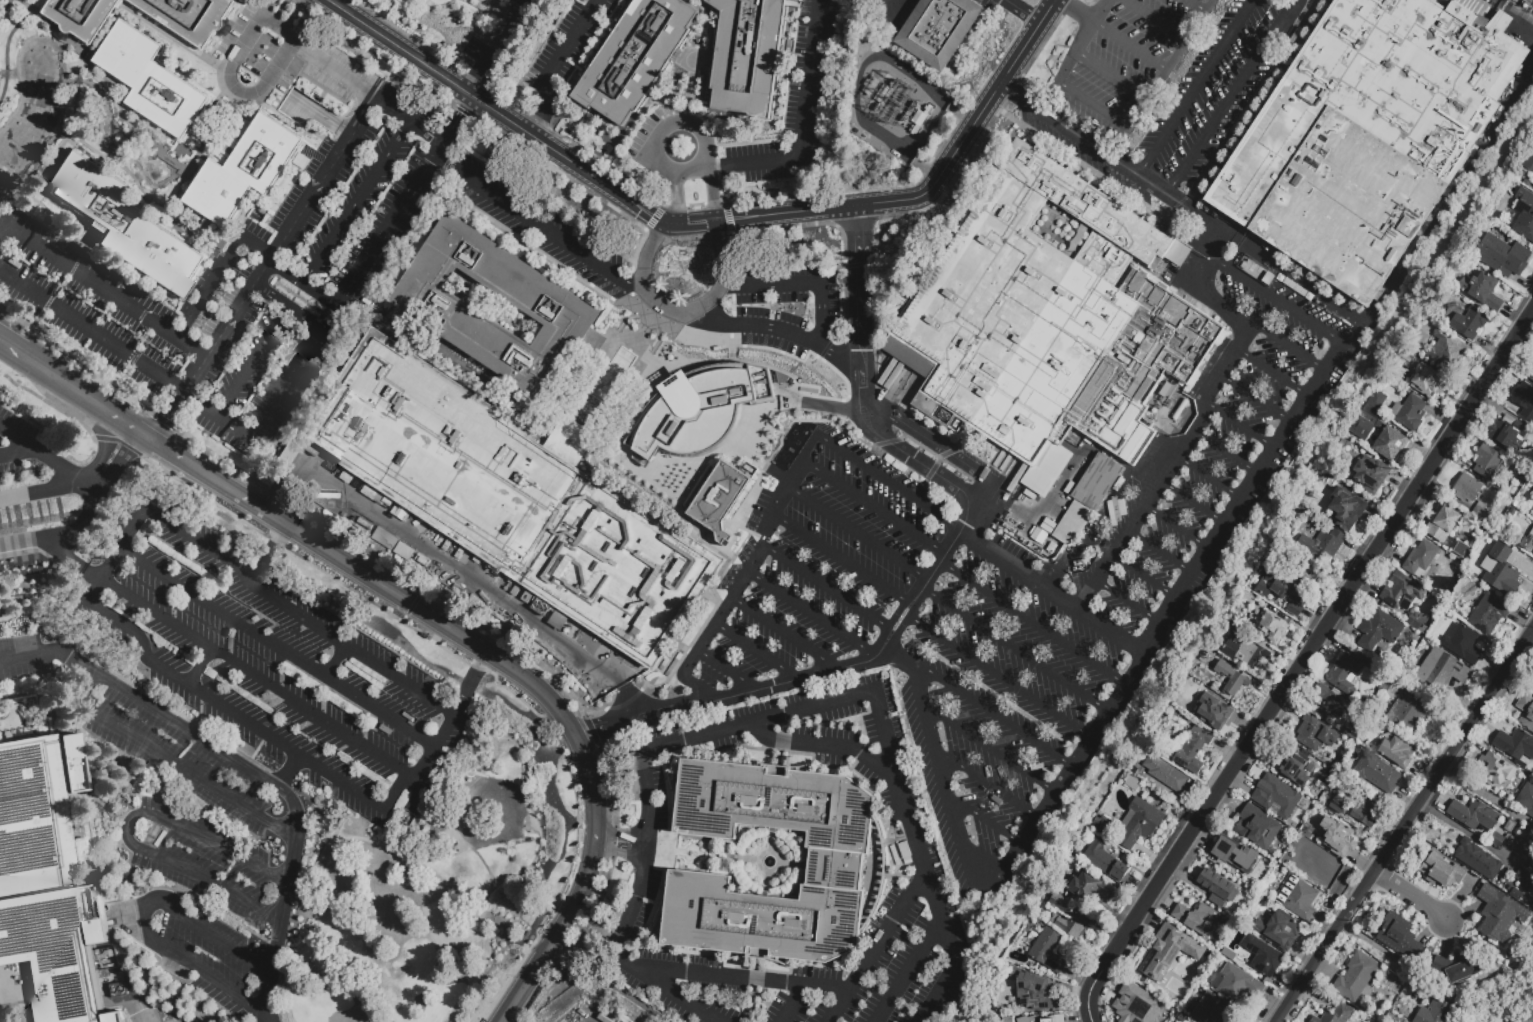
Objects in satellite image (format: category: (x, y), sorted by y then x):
building: (466, 0)
parking lot: (995, 4)
road: (25, 5)
road: (1195, 6)
road: (5, 7)
road: (1021, 10)
road: (1076, 10)
road: (894, 11)
road: (280, 12)
road: (37, 13)
parking lot: (893, 13)
road: (477, 14)
building: (79, 16)
building: (188, 16)
road: (295, 16)
road: (1516, 18)
road: (1154, 20)
road: (279, 29)
building: (938, 30)
road: (501, 32)
road: (467, 41)
road: (572, 42)
road: (1079, 42)
road: (1130, 46)
building: (747, 55)
building: (633, 58)
fountain: (41, 59)
road: (1170, 66)
road: (335, 68)
road: (1111, 76)
road: (471, 79)
road: (79, 82)
building: (153, 83)
road: (236, 88)
building: (871, 88)
road: (1196, 88)
road: (1, 96)
building: (884, 97)
road: (1231, 97)
power substation: (894, 98)
road: (1090, 108)
road: (545, 111)
building: (911, 114)
road: (319, 116)
road: (410, 119)
road: (457, 121)
building: (920, 121)
road: (804, 122)
building: (1370, 136)
road: (209, 138)
road: (1080, 139)
road: (57, 155)
road: (708, 159)
building: (301, 163)
building: (1529, 167)
building: (245, 173)
fountain: (161, 176)
road: (712, 193)
road: (1451, 194)
road: (674, 198)
road: (357, 199)
road: (1190, 209)
building: (1522, 217)
road: (705, 221)
road: (391, 223)
road: (536, 225)
building: (128, 228)
road: (279, 244)
road: (256, 248)
building: (1494, 253)
road: (858, 255)
building: (1517, 260)
road: (1190, 267)
building: (1532, 268)
building: (1253, 269)
road: (1290, 273)
road: (305, 280)
building: (1269, 280)
road: (802, 282)
road: (59, 285)
road: (101, 286)
road: (209, 288)
building: (1484, 292)
road: (1272, 297)
building: (551, 304)
road: (286, 308)
road: (1229, 309)
road: (685, 312)
building: (1044, 315)
road: (753, 325)
building: (1470, 325)
road: (860, 330)
road: (91, 331)
road: (1288, 346)
road: (9, 348)
building: (1452, 356)
building: (1406, 358)
road: (840, 359)
road: (253, 363)
road: (1271, 372)
road: (50, 375)
road: (862, 375)
building: (1531, 377)
road: (286, 386)
building: (1427, 388)
road: (1254, 398)
road: (133, 401)
road: (50, 403)
building: (1525, 403)
road: (831, 406)
building: (697, 409)
road: (1204, 409)
road: (107, 411)
building: (1412, 416)
road: (167, 417)
road: (217, 417)
building: (1369, 419)
road: (1241, 427)
road: (142, 434)
building: (1509, 435)
road: (18, 438)
road: (925, 438)
road: (119, 440)
building: (1392, 446)
road: (26, 451)
road: (104, 451)
road: (1225, 453)
road: (8, 454)
building: (1356, 454)
road: (909, 456)
road: (119, 461)
building: (1488, 463)
road: (60, 465)
road: (285, 468)
road: (1262, 468)
road: (1209, 478)
road: (881, 479)
building: (1370, 480)
road: (162, 482)
building: (1097, 482)
road: (984, 490)
building: (1468, 491)
road: (269, 494)
building: (510, 498)
road: (94, 500)
building: (719, 500)
road: (1193, 502)
road: (866, 504)
building: (1347, 511)
building: (1483, 515)
building: (1532, 516)
building: (1073, 523)
building: (1049, 524)
building: (1444, 525)
road: (1177, 527)
building: (1010, 530)
road: (857, 533)
building: (1532, 534)
building: (1039, 535)
building: (384, 539)
road: (123, 541)
building: (446, 543)
building: (1092, 543)
road: (949, 545)
building: (1051, 547)
building: (1324, 547)
building: (1528, 547)
building: (1101, 550)
building: (403, 551)
building: (459, 552)
building: (1462, 552)
road: (268, 553)
road: (1113, 553)
road: (1160, 553)
road: (840, 555)
road: (71, 558)
building: (1422, 561)
building: (1499, 570)
road: (746, 571)
road: (457, 572)
building: (440, 574)
road: (1145, 576)
building: (1300, 576)
road: (825, 585)
road: (92, 589)
road: (1051, 590)
building: (1402, 592)
building: (1283, 595)
building: (485, 600)
road: (404, 601)
road: (1128, 603)
road: (297, 613)
road: (811, 614)
building: (1489, 616)
road: (893, 619)
building: (1417, 622)
road: (53, 623)
road: (1032, 623)
road: (903, 626)
building: (1270, 627)
building: (1232, 631)
road: (783, 632)
building: (1380, 633)
building: (425, 636)
road: (1531, 637)
building: (503, 639)
building: (1463, 646)
road: (277, 647)
building: (1230, 649)
road: (754, 650)
road: (1014, 651)
road: (40, 652)
building: (1252, 655)
road: (902, 659)
road: (335, 660)
road: (1301, 665)
road: (199, 667)
road: (726, 668)
building: (1374, 668)
road: (476, 669)
building: (1224, 669)
building: (1442, 672)
road: (252, 675)
building: (1345, 676)
road: (999, 679)
road: (472, 683)
building: (1531, 684)
building: (432, 685)
building: (1237, 686)
road: (751, 689)
building: (1392, 689)
building: (1511, 694)
road: (631, 702)
road: (832, 702)
building: (1330, 702)
building: (1212, 711)
building: (1526, 712)
road: (177, 713)
road: (992, 713)
building: (1410, 715)
road: (179, 723)
road: (247, 723)
building: (461, 725)
road: (600, 729)
building: (1351, 731)
building: (392, 733)
building: (1316, 735)
building: (1516, 746)
road: (829, 747)
road: (433, 749)
road: (989, 749)
building: (1191, 749)
building: (1398, 751)
road: (1080, 753)
road: (160, 755)
building: (1294, 767)
building: (1495, 770)
road: (287, 772)
road: (126, 773)
building: (1331, 773)
building: (1379, 775)
building: (1166, 776)
road: (473, 779)
road: (280, 780)
building: (1132, 783)
road: (986, 784)
road: (944, 787)
road: (286, 795)
building: (1278, 797)
building: (1526, 801)
building: (1339, 806)
road: (295, 810)
road: (319, 811)
building: (1369, 814)
building: (1475, 817)
road: (287, 818)
road: (985, 819)
building: (1140, 825)
building: (1509, 825)
building: (1257, 826)
road: (1405, 826)
building: (1104, 827)
road: (127, 829)
building: (1531, 829)
road: (1461, 830)
building: (155, 832)
road: (621, 834)
road: (296, 836)
building: (161, 839)
road: (287, 839)
building: (1337, 839)
building: (1498, 842)
road: (648, 849)
road: (620, 853)
building: (906, 853)
road: (476, 854)
fountain: (768, 861)
building: (835, 861)
building: (1478, 861)
building: (1106, 863)
building: (1531, 867)
building: (1224, 869)
road: (291, 870)
building: (1441, 872)
road: (430, 875)
road: (134, 880)
park: (431, 880)
building: (46, 881)
building: (1526, 883)
road: (582, 884)
building: (1216, 887)
building: (1091, 890)
building: (1287, 890)
building: (1517, 896)
road: (1413, 899)
building: (1302, 902)
road: (201, 905)
building: (1500, 916)
road: (140, 917)
building: (1071, 919)
building: (1199, 921)
road: (889, 928)
building: (1280, 932)
building: (1395, 934)
building: (1177, 948)
road: (280, 949)
road: (1381, 950)
road: (273, 953)
building: (1049, 953)
building: (1264, 958)
road: (625, 966)
building: (1460, 967)
road: (910, 968)
road: (953, 971)
building: (187, 977)
road: (738, 977)
building: (1357, 980)
building: (1237, 984)
road: (523, 985)
road: (607, 985)
building: (118, 990)
building: (1029, 990)
road: (794, 1003)
building: (1136, 1004)
road: (841, 1006)
building: (1439, 1008)
building: (1211, 1010)
parking lot: (600, 1011)
building: (1340, 1015)
road: (600, 1016)
building: (577, 1017)
building: (1059, 1017)
building: (1316, 1021)

